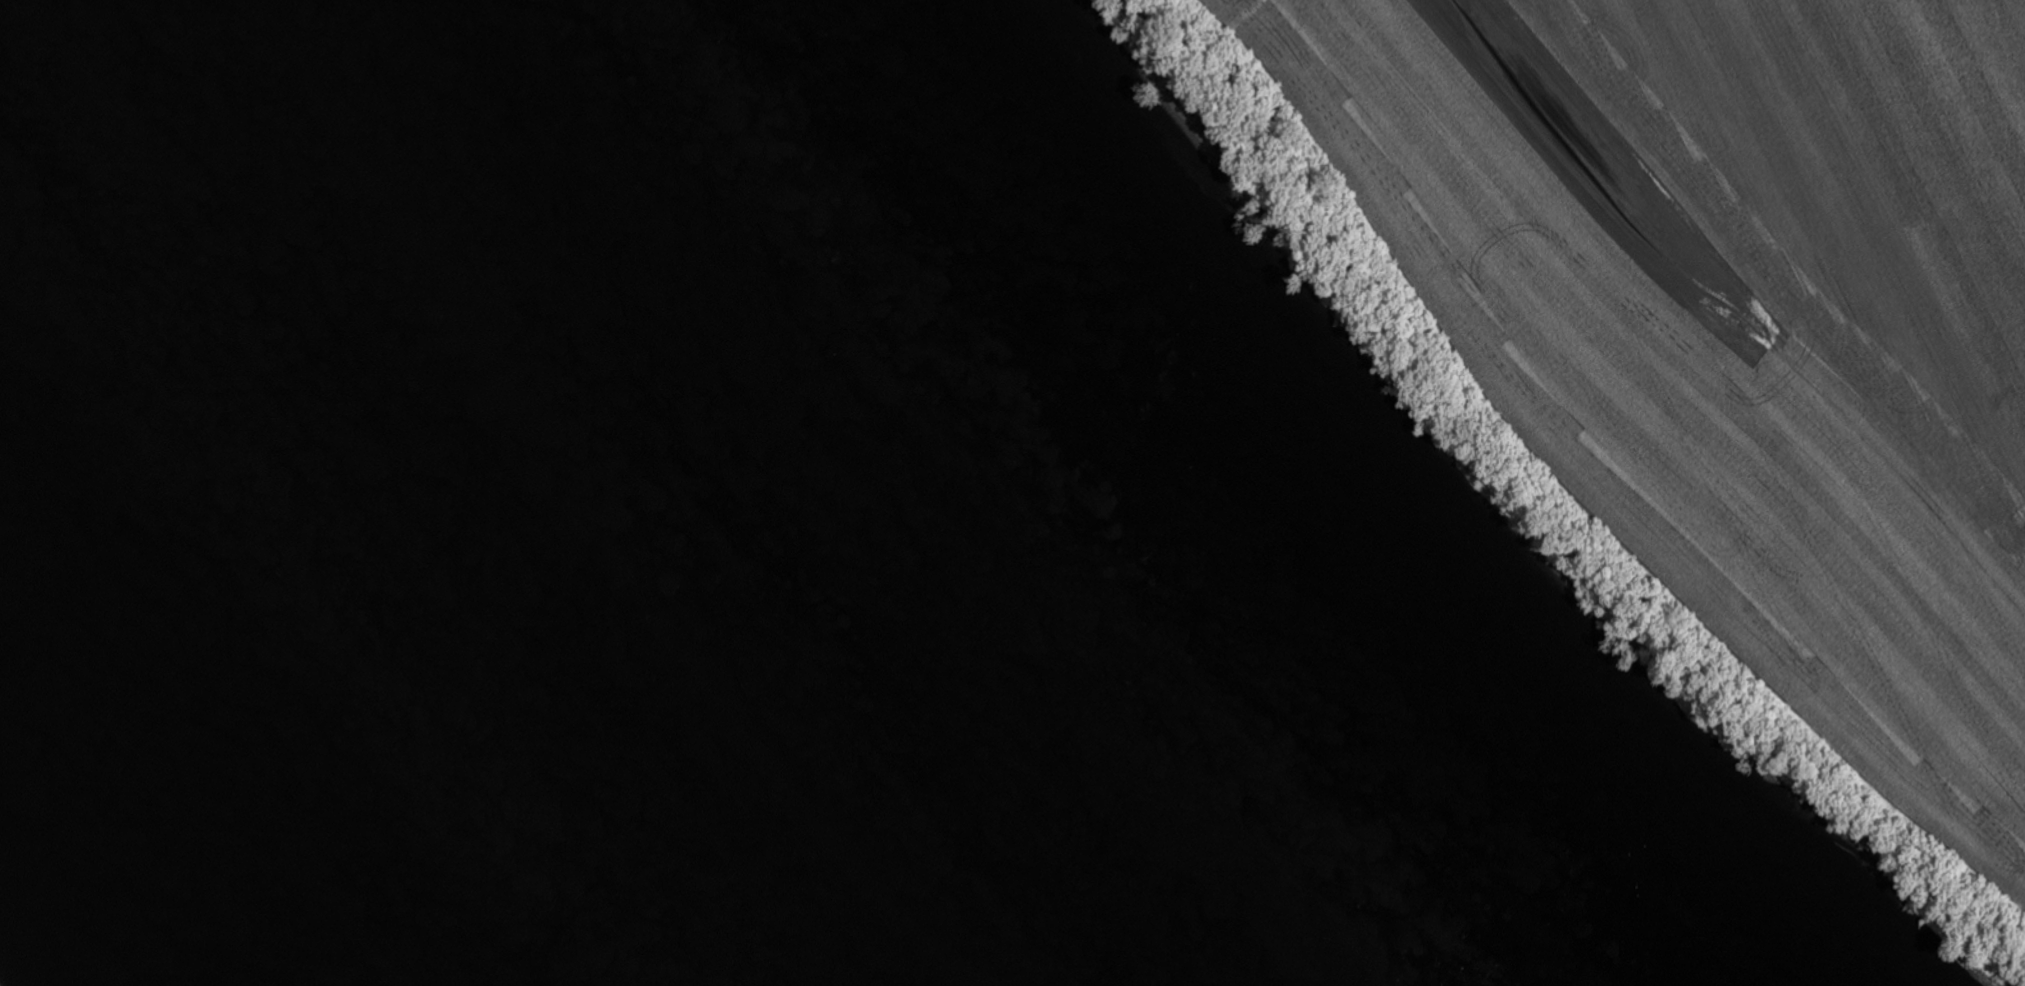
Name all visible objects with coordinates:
river: (644, 496)

